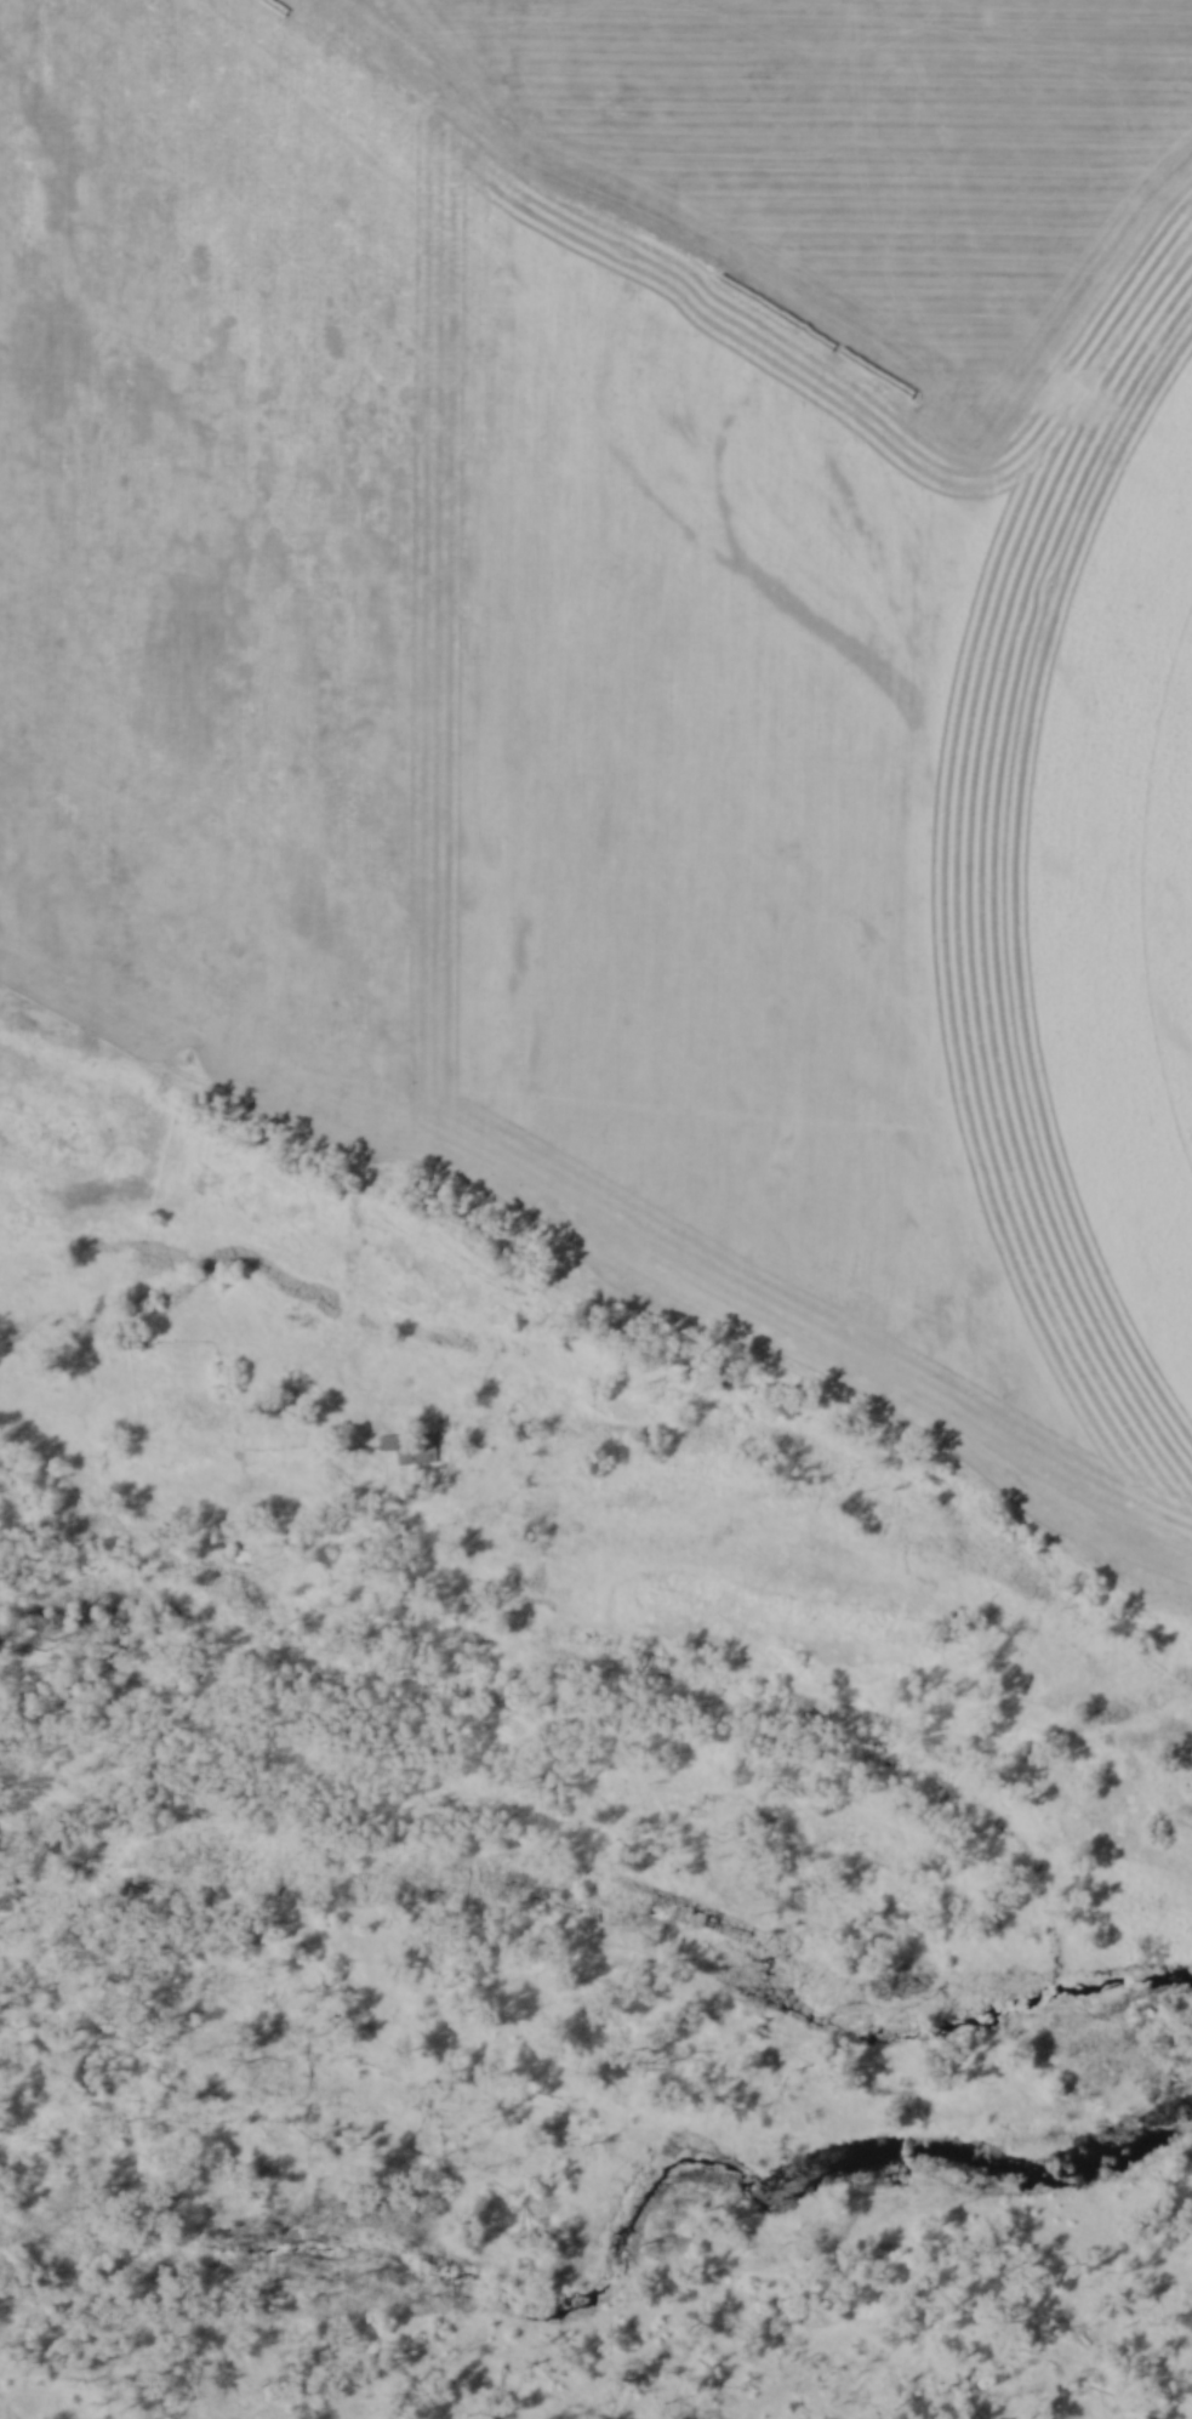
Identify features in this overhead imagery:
crop: (1077, 860)
building: (414, 1450)

